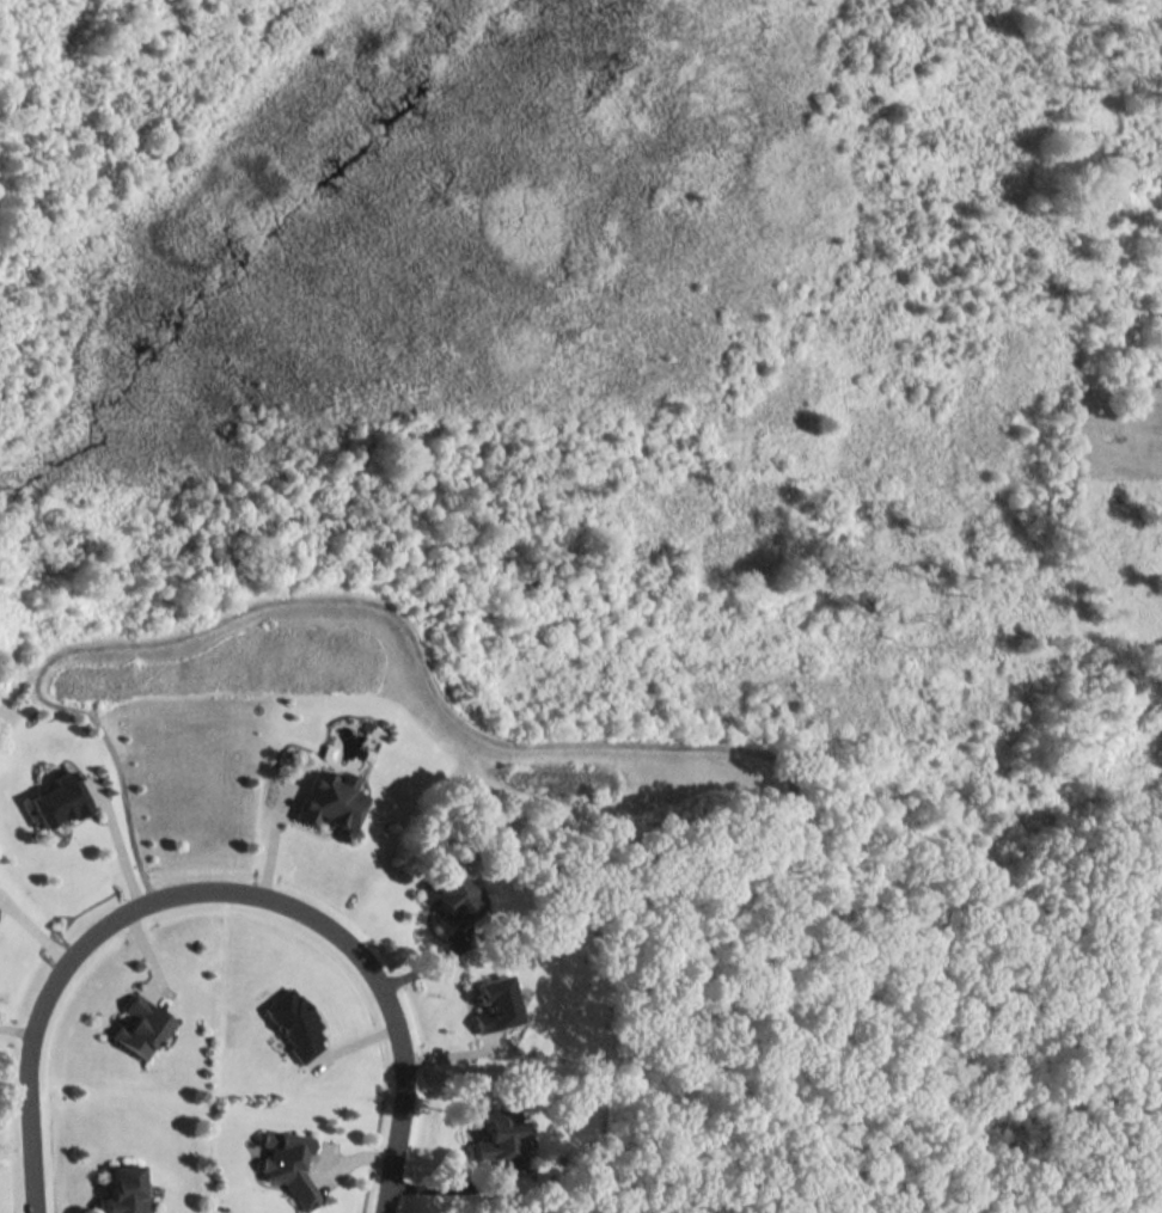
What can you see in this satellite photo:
building: (326, 798)
building: (55, 800)
road: (126, 843)
road: (214, 888)
building: (447, 899)
building: (491, 1003)
building: (292, 1022)
building: (139, 1027)
building: (500, 1138)
building: (286, 1164)
building: (122, 1189)

